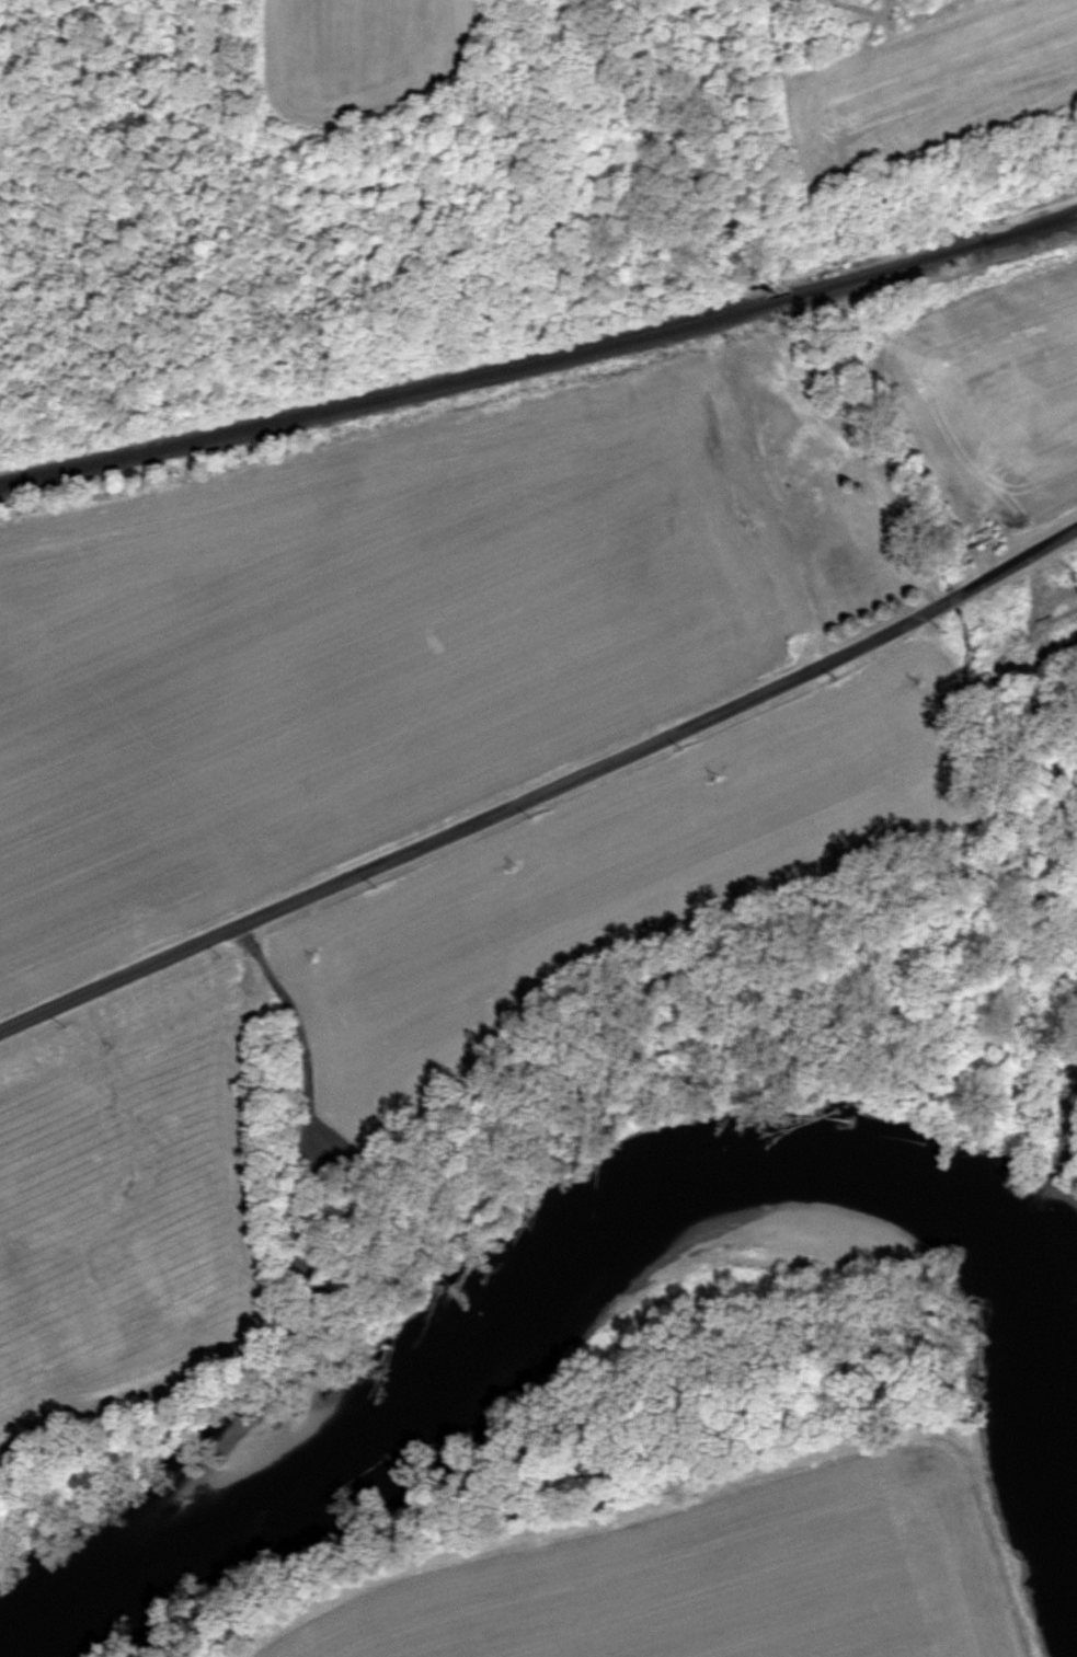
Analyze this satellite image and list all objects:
railway: (540, 358)
building: (748, 502)
road: (896, 516)
road: (541, 789)
river: (526, 1326)
crop: (729, 1578)

